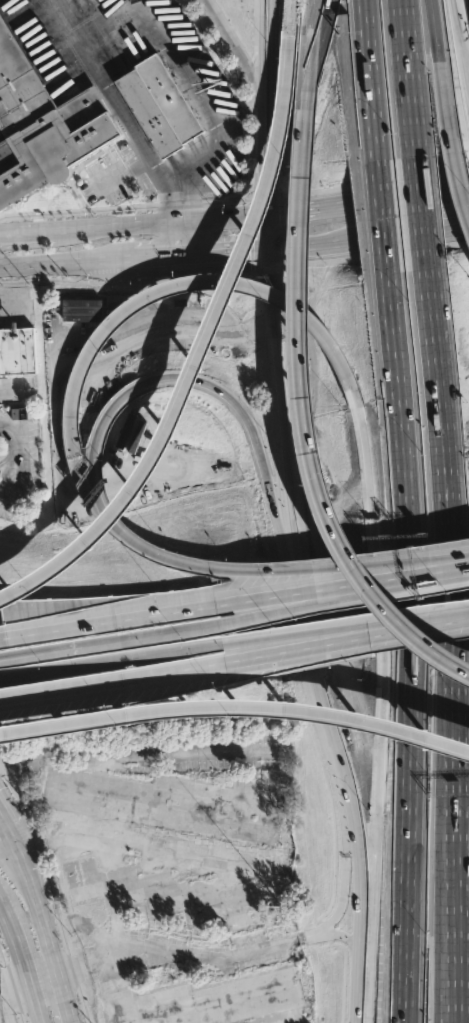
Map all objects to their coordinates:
road: (90, 12)
road: (292, 24)
road: (463, 31)
road: (240, 51)
road: (271, 51)
road: (442, 69)
road: (413, 78)
road: (99, 80)
road: (371, 83)
road: (307, 88)
road: (201, 99)
building: (158, 106)
building: (43, 124)
road: (270, 158)
road: (123, 171)
road: (455, 178)
road: (374, 180)
road: (455, 189)
traffic signals: (270, 190)
road: (275, 195)
road: (398, 198)
road: (174, 200)
road: (125, 207)
road: (318, 208)
road: (427, 208)
road: (143, 209)
traffic signals: (289, 212)
road: (275, 214)
road: (381, 217)
road: (134, 224)
road: (270, 231)
road: (395, 234)
road: (184, 238)
road: (39, 243)
road: (296, 245)
road: (261, 249)
traffic signals: (243, 251)
road: (228, 252)
road: (376, 255)
road: (154, 256)
road: (250, 261)
road: (51, 262)
road: (266, 270)
road: (55, 279)
road: (125, 283)
road: (157, 292)
road: (13, 307)
building: (82, 310)
road: (213, 325)
building: (17, 350)
road: (398, 398)
road: (282, 410)
road: (247, 421)
building: (129, 434)
road: (95, 452)
road: (21, 456)
road: (306, 457)
road: (450, 489)
road: (371, 558)
road: (268, 566)
road: (425, 569)
road: (31, 585)
road: (190, 608)
road: (251, 617)
road: (408, 626)
road: (337, 633)
road: (208, 646)
road: (59, 649)
road: (311, 656)
road: (234, 658)
road: (60, 669)
road: (176, 707)
road: (411, 734)
road: (342, 767)
road: (454, 790)
road: (2, 827)
road: (406, 827)
road: (372, 832)
road: (461, 836)
road: (12, 849)
road: (10, 856)
road: (344, 866)
road: (361, 875)
road: (54, 894)
road: (454, 902)
road: (52, 905)
road: (35, 907)
road: (344, 936)
road: (218, 958)
road: (21, 963)
road: (401, 978)
road: (447, 983)
road: (455, 983)
road: (12, 985)
road: (57, 986)
road: (360, 987)
road: (9, 993)
road: (464, 1007)

